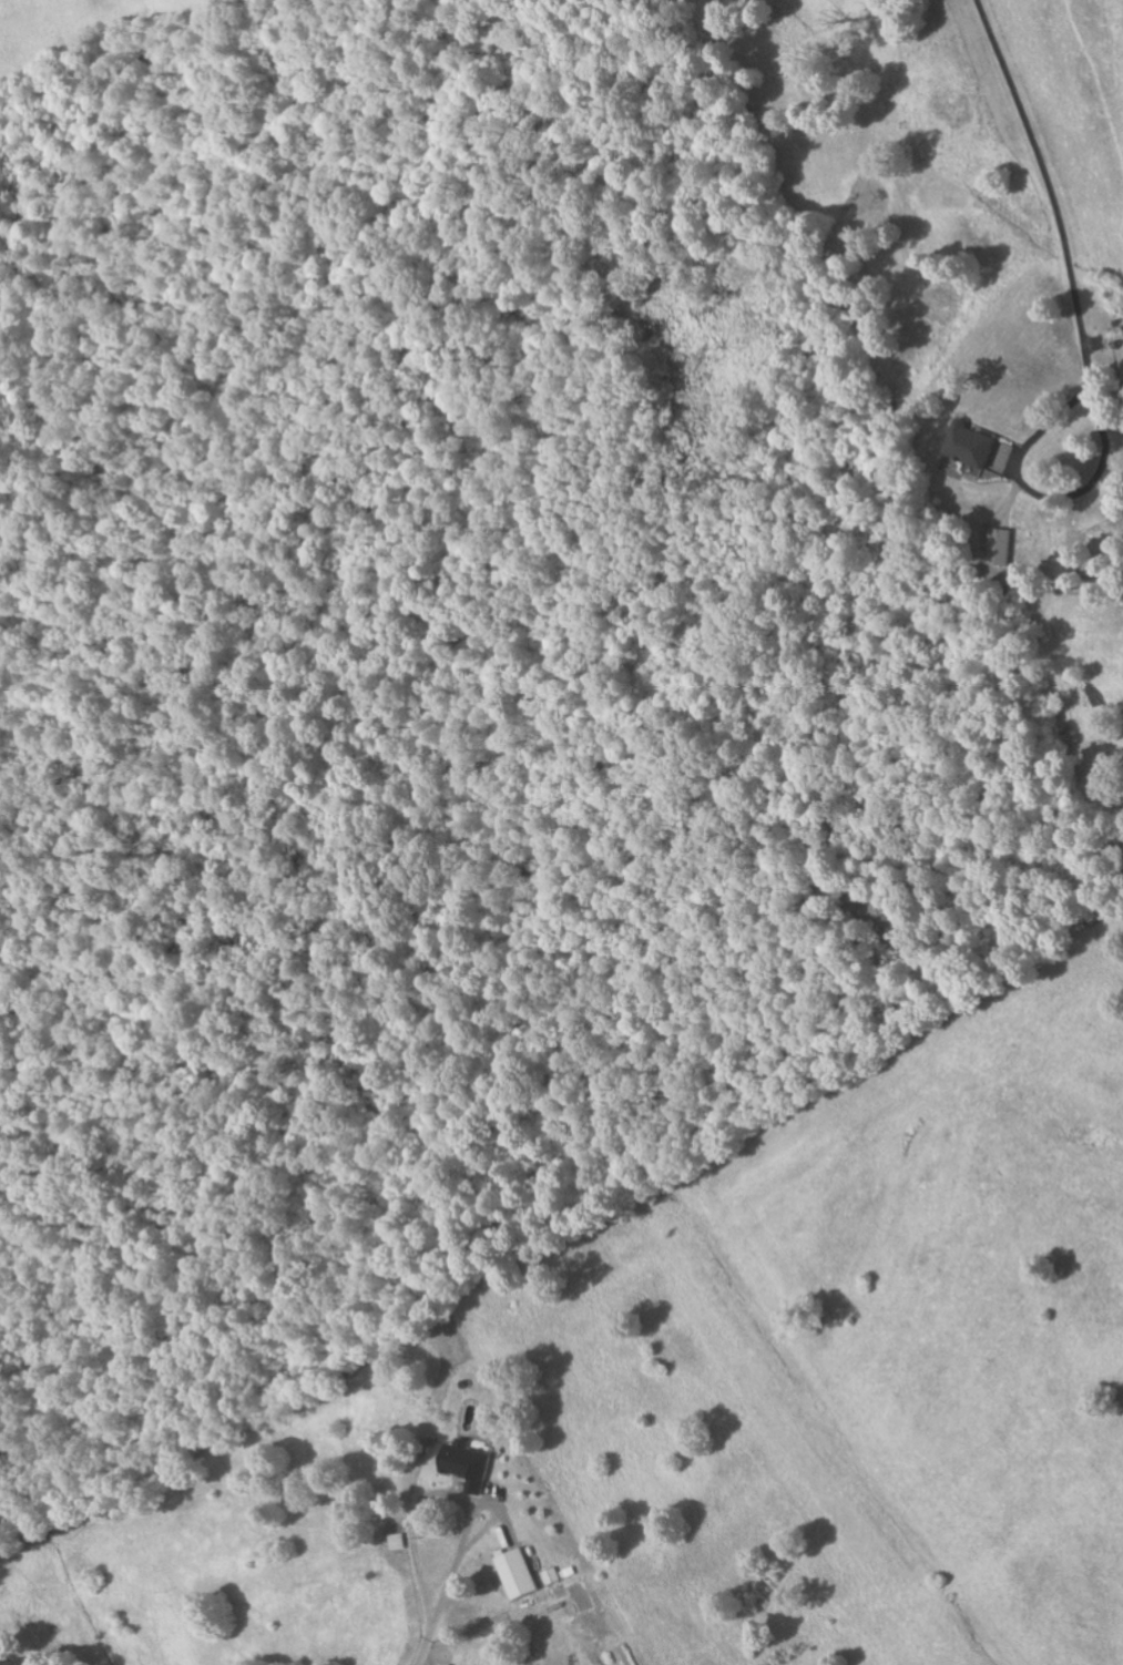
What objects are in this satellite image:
road: (1049, 183)
building: (973, 446)
building: (1004, 547)
building: (470, 1464)
road: (445, 1494)
road: (498, 1522)
building: (399, 1543)
building: (520, 1574)
road: (425, 1647)

